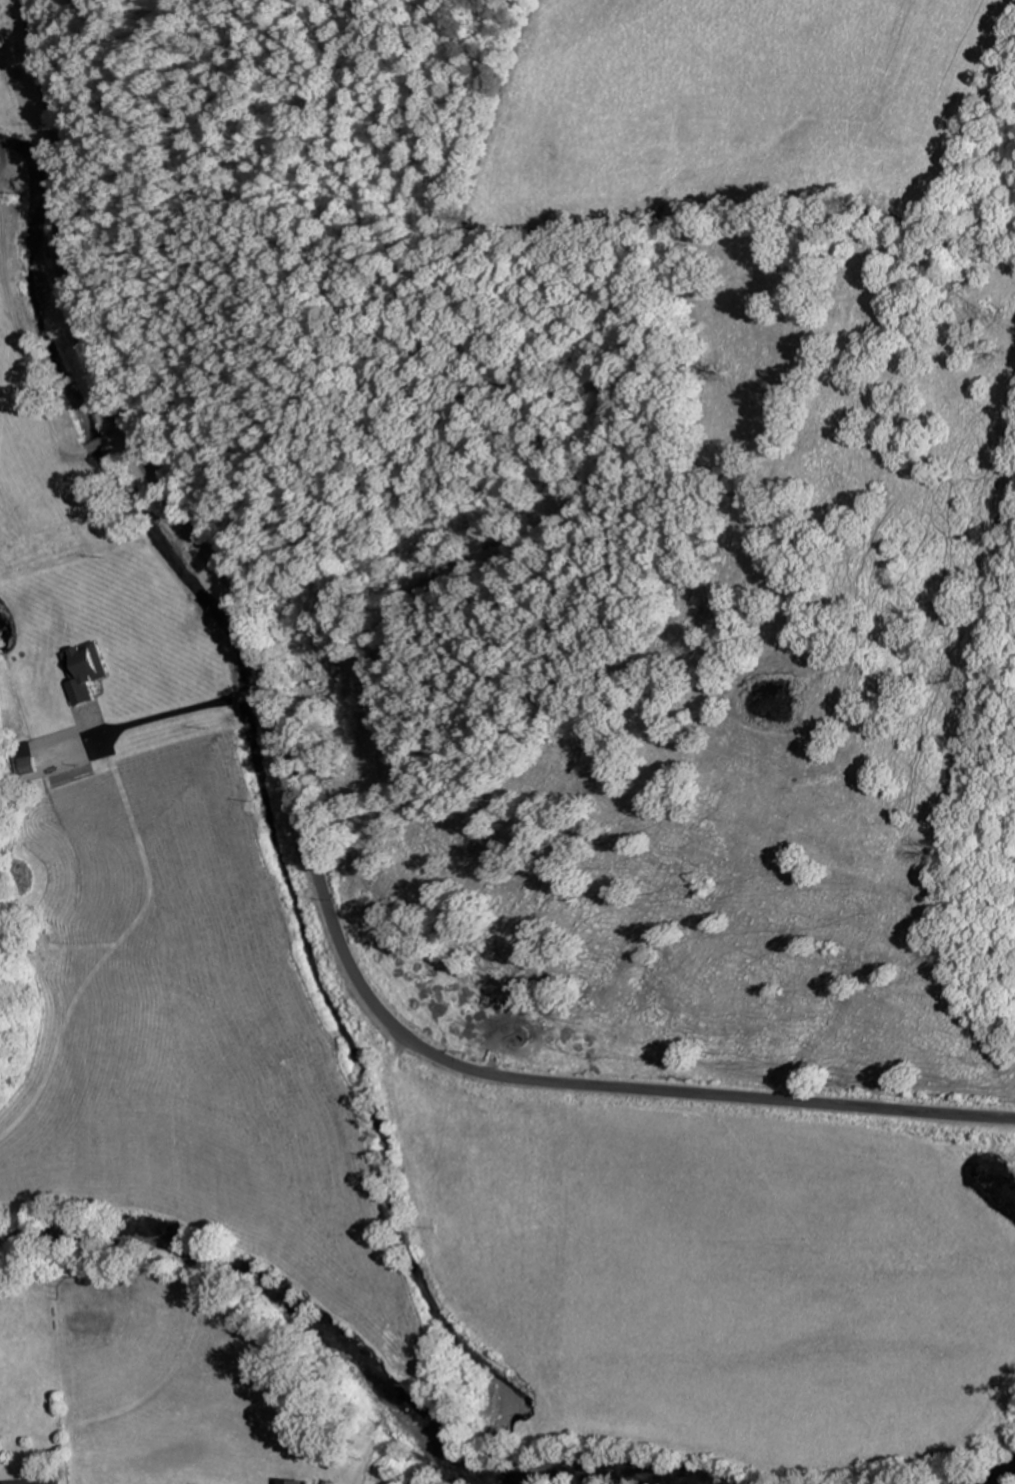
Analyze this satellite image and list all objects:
road: (23, 231)
building: (83, 670)
building: (25, 765)
road: (299, 811)
building: (286, 1075)
river: (346, 1337)
river: (999, 1479)
building: (32, 1481)
building: (293, 1482)
building: (329, 1483)

